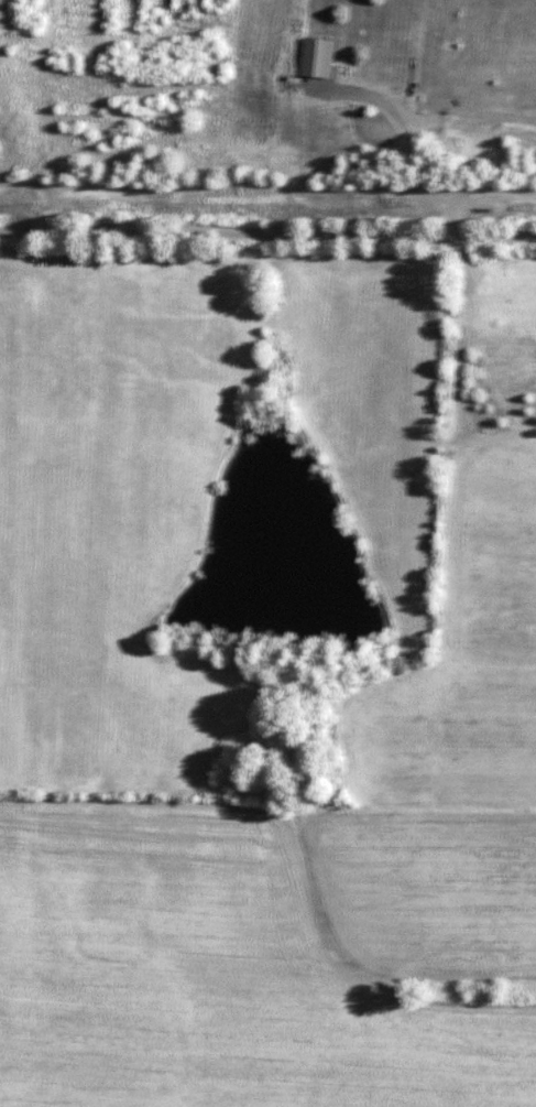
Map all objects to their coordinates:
road: (267, 236)

